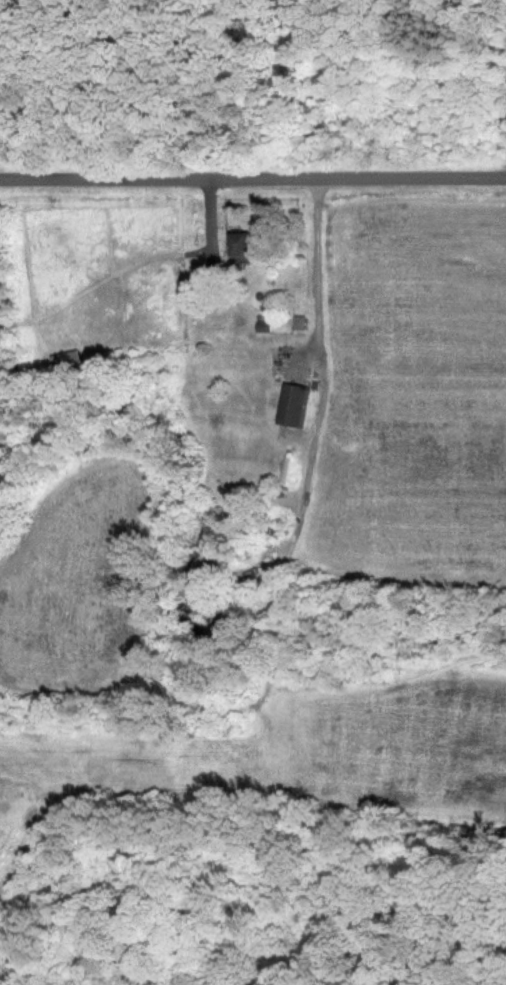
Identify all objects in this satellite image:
parking lot: (504, 161)
road: (253, 176)
building: (246, 246)
building: (70, 363)
building: (296, 404)

